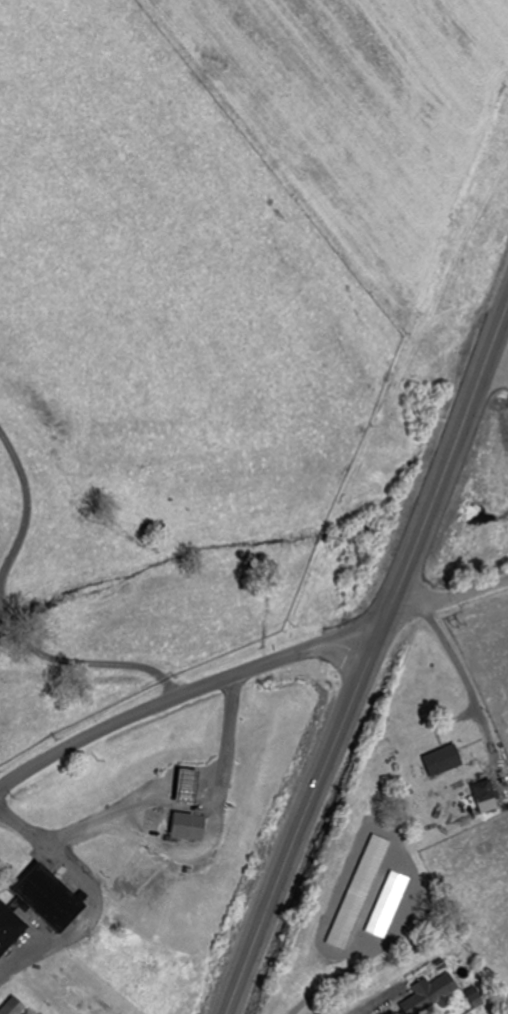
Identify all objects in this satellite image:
road: (2, 500)
road: (446, 599)
road: (294, 652)
road: (368, 658)
road: (103, 672)
road: (468, 685)
road: (98, 730)
building: (442, 760)
building: (188, 783)
gas station: (188, 783)
building: (485, 796)
building: (190, 823)
flagpole: (102, 874)
building: (361, 890)
building: (51, 895)
building: (10, 924)
road: (337, 977)
building: (432, 994)
building: (14, 1007)

